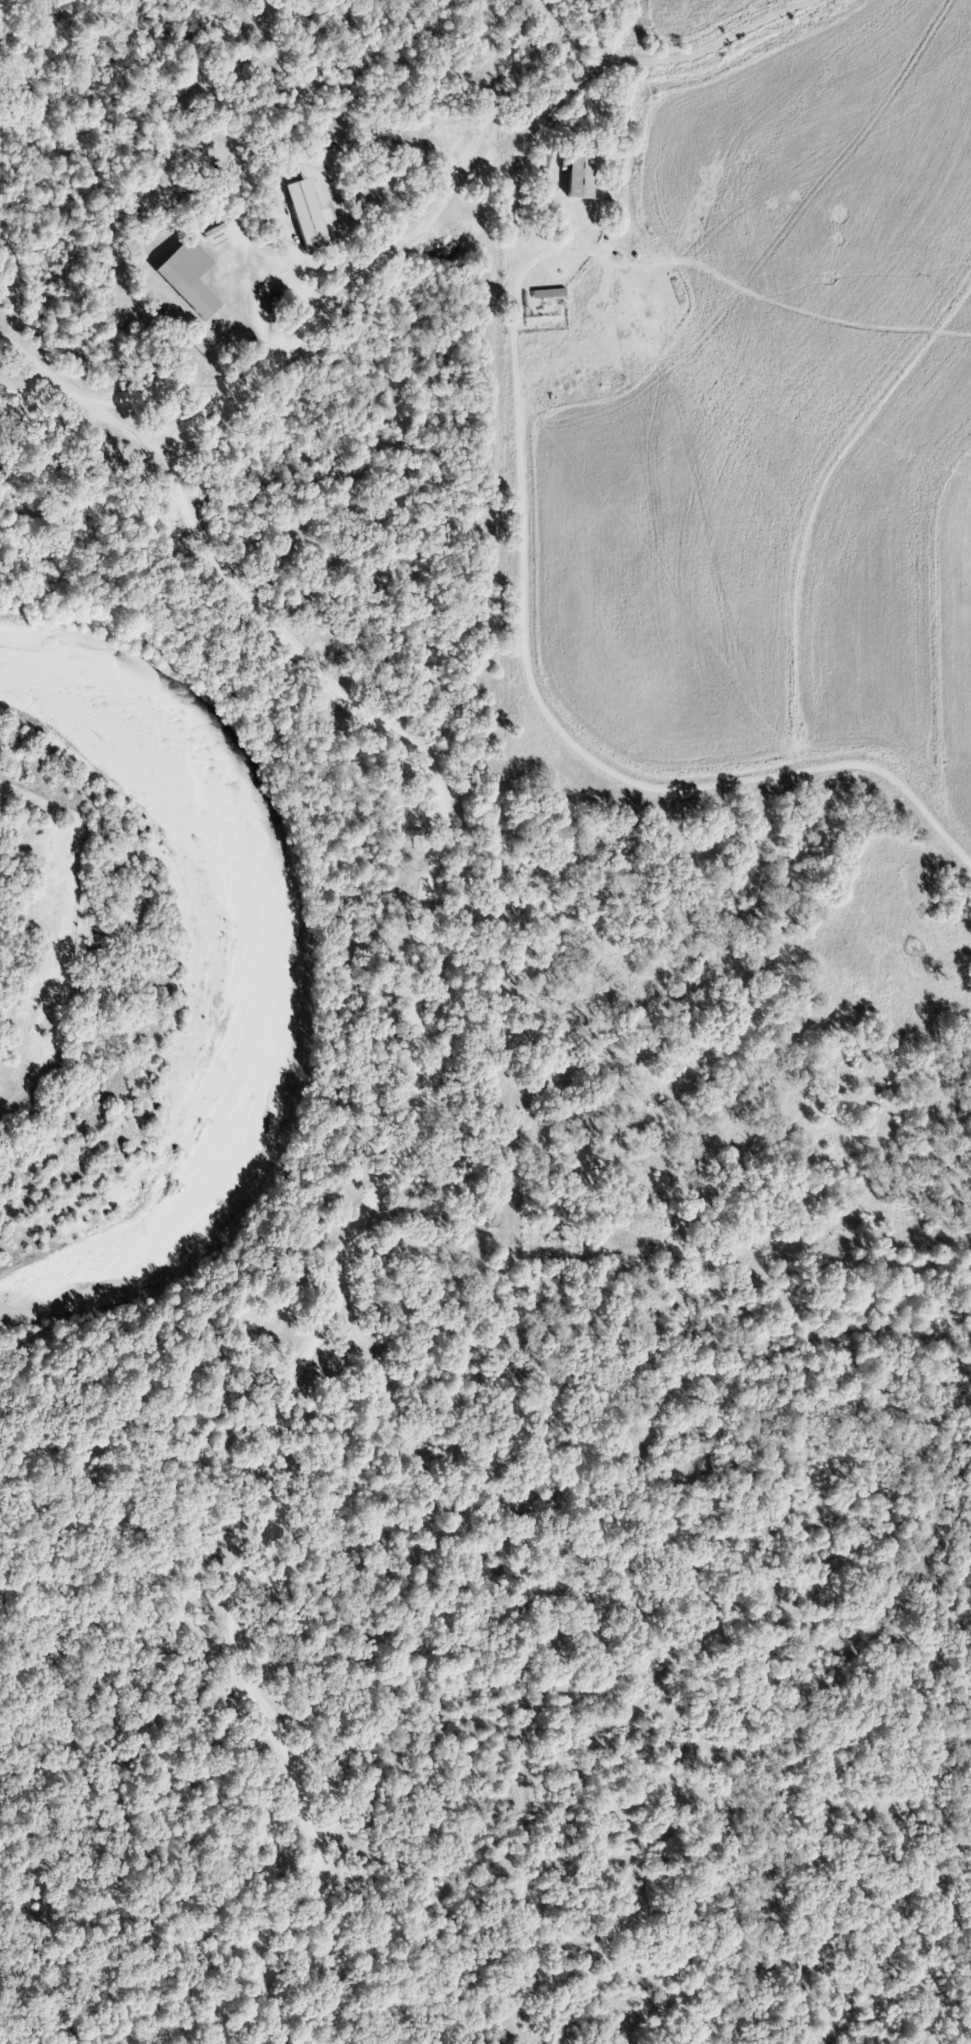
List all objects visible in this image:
road: (589, 79)
building: (583, 173)
building: (549, 293)

